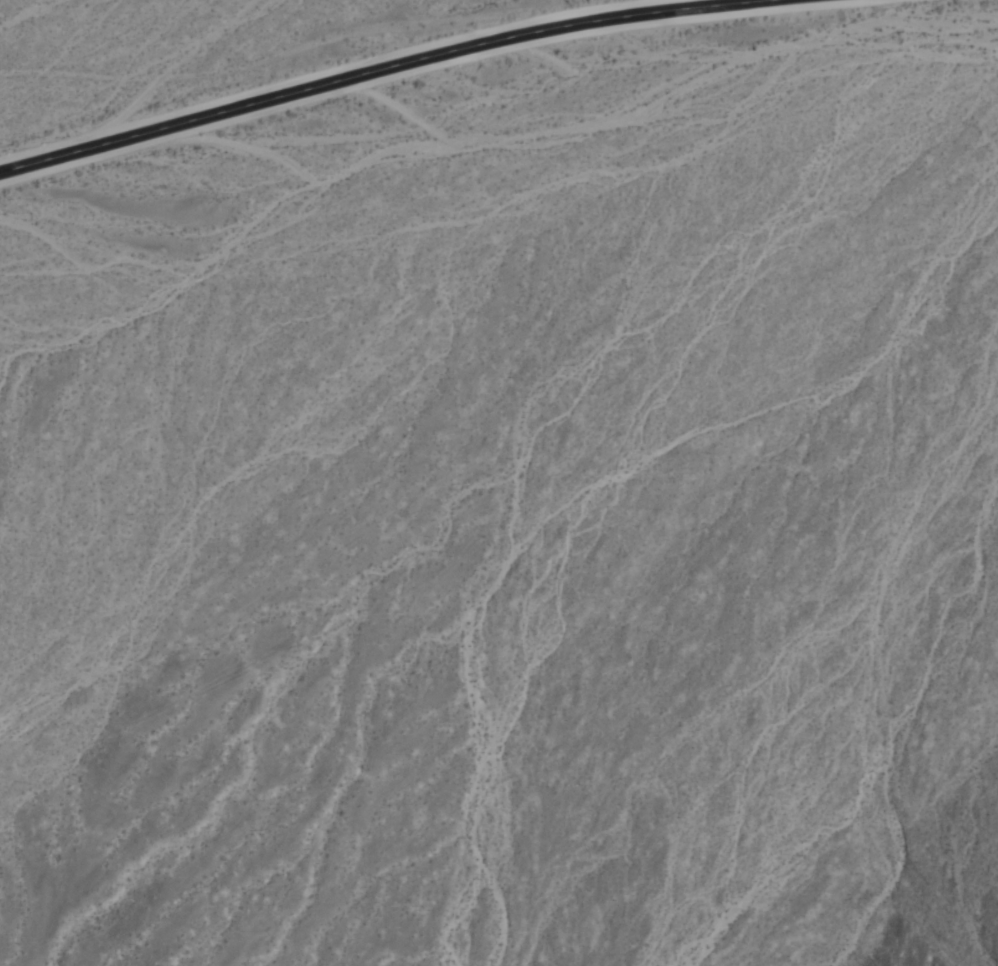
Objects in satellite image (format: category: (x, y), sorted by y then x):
road: (357, 71)

